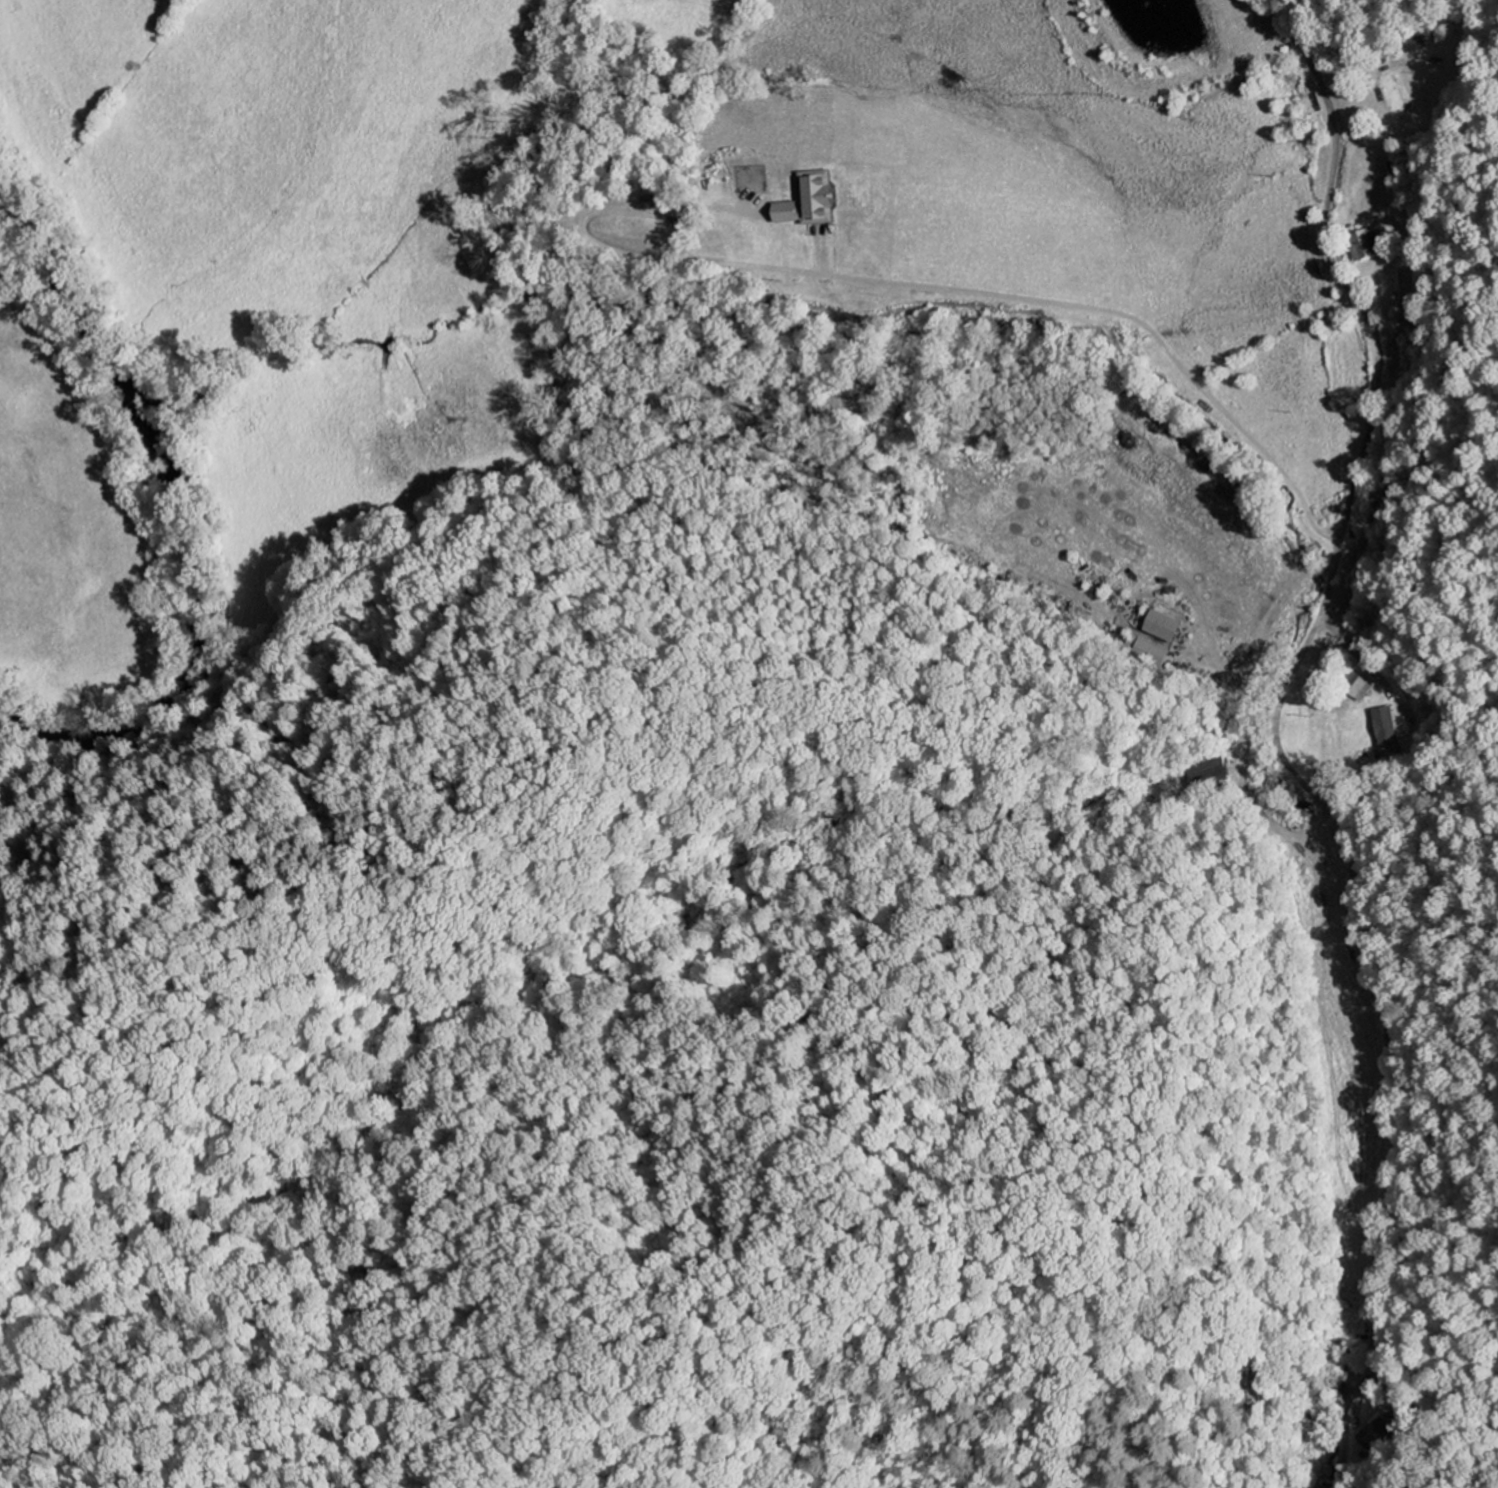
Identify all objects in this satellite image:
building: (813, 206)
building: (1367, 245)
river: (188, 532)
road: (1336, 544)
building: (1161, 628)
building: (1149, 654)
building: (1358, 687)
building: (1388, 732)
building: (1378, 1438)

